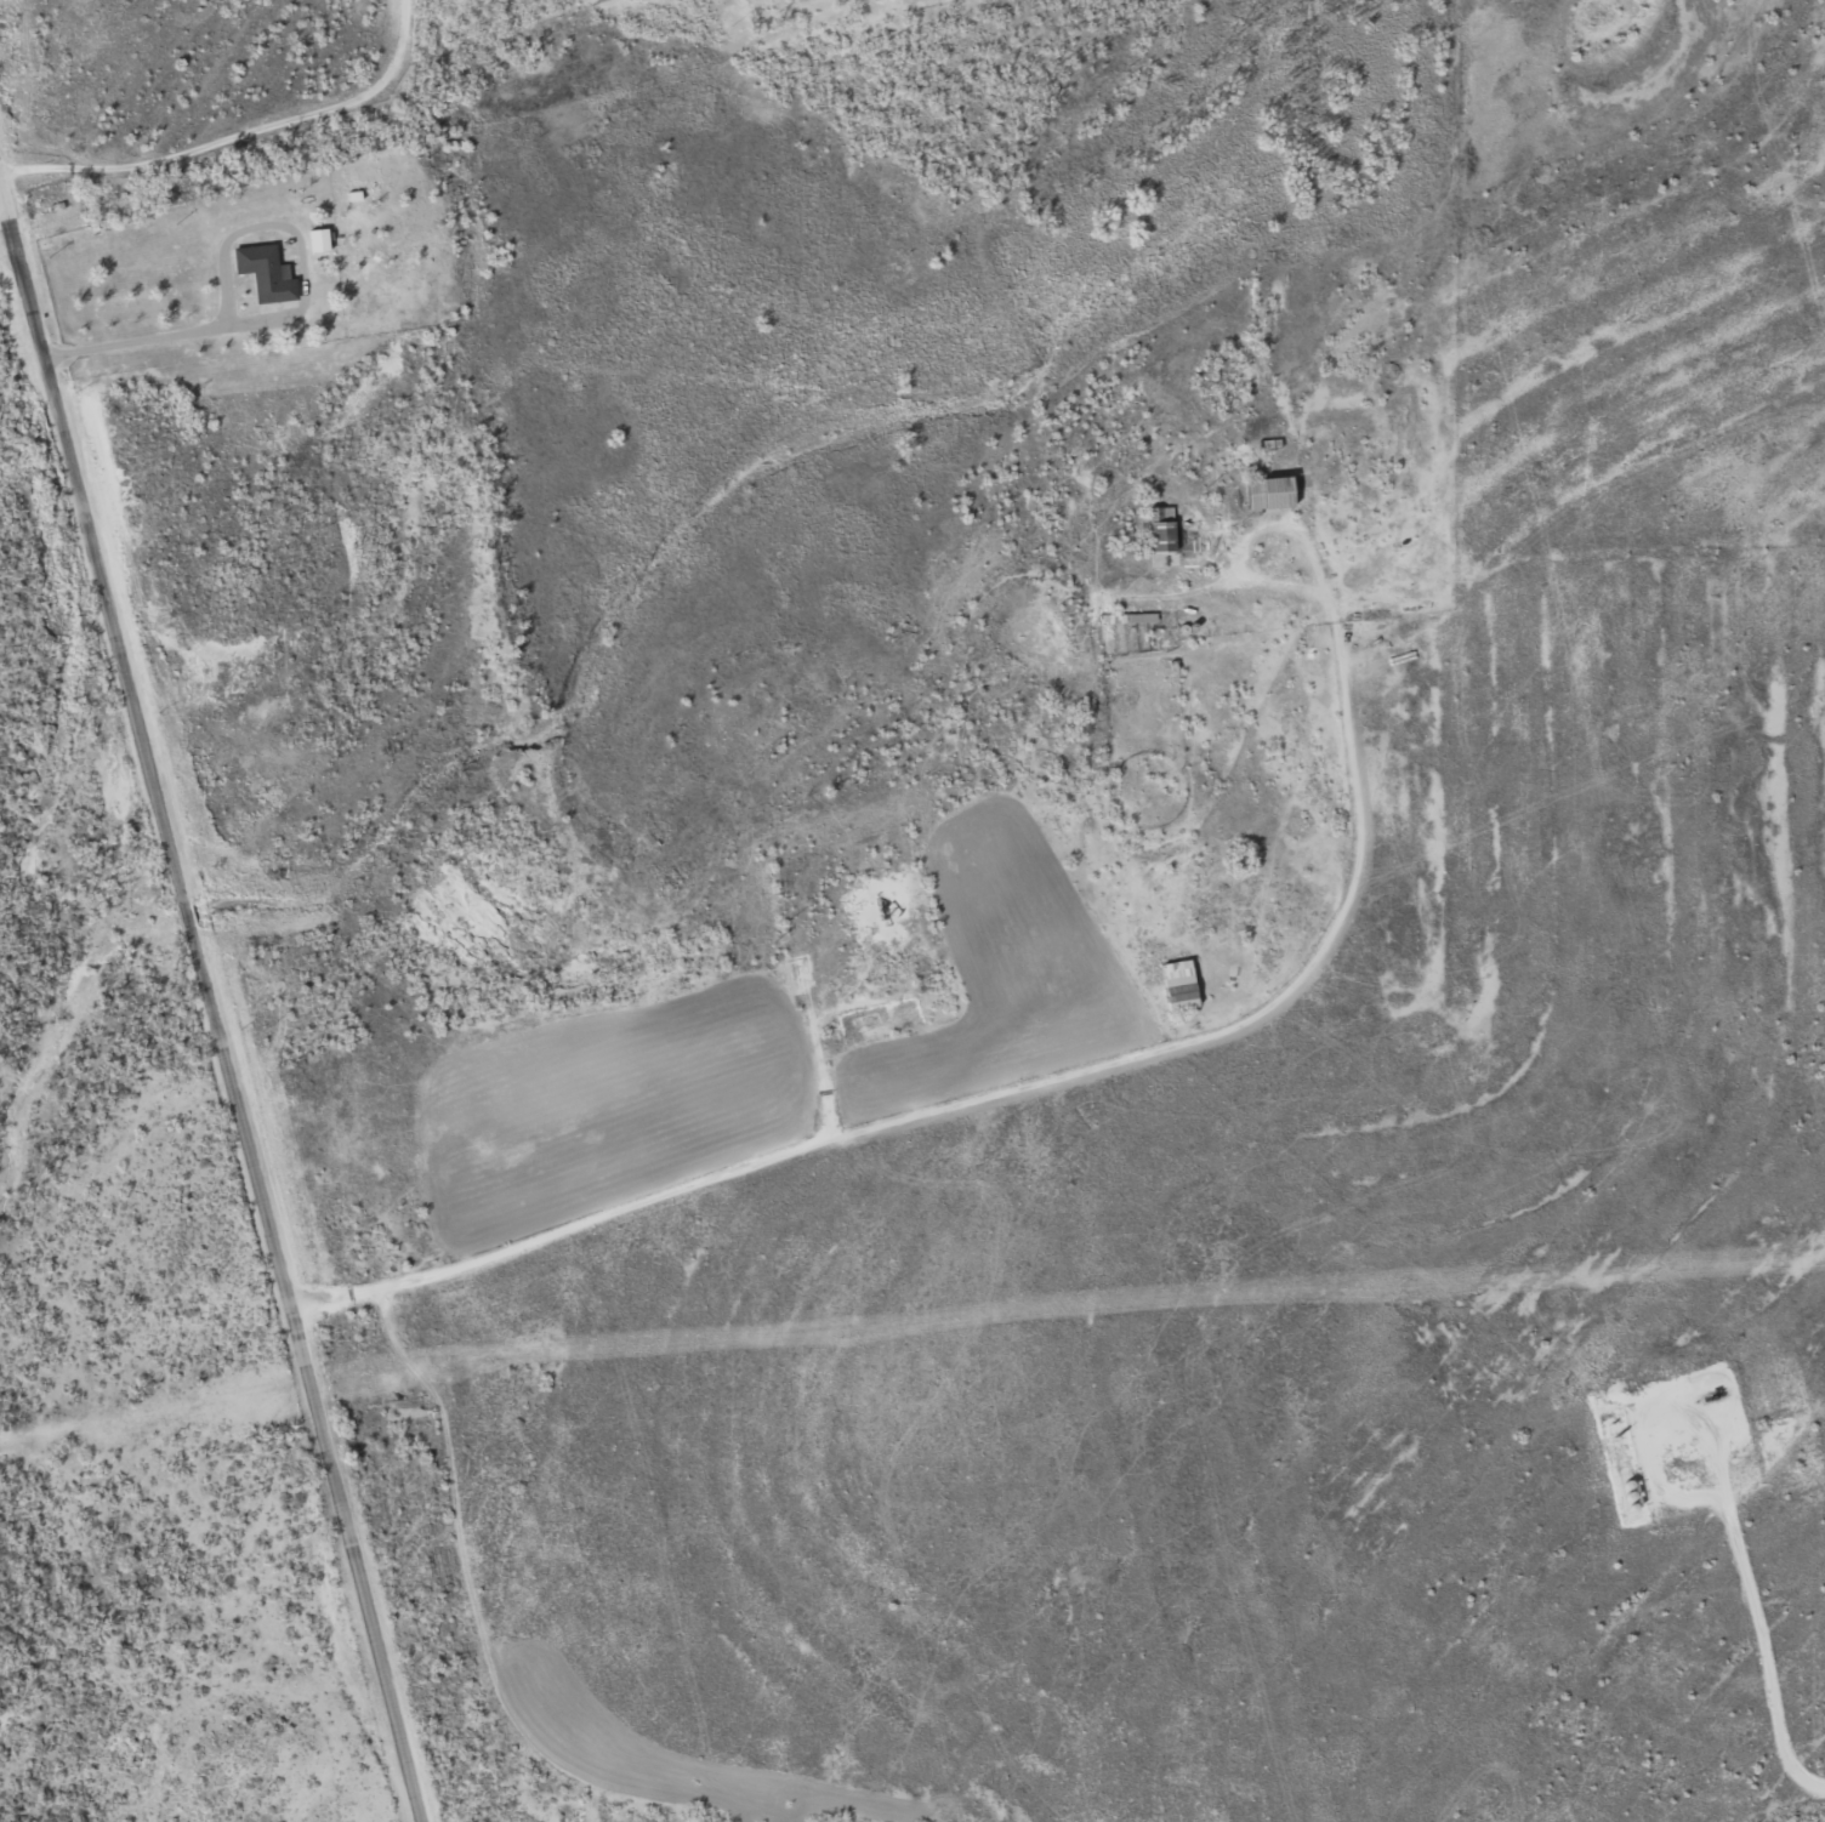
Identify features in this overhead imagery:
road: (235, 136)
road: (7, 246)
building: (268, 273)
building: (1274, 492)
building: (1164, 529)
building: (1127, 616)
building: (1181, 985)
road: (211, 1002)
road: (1112, 1061)

